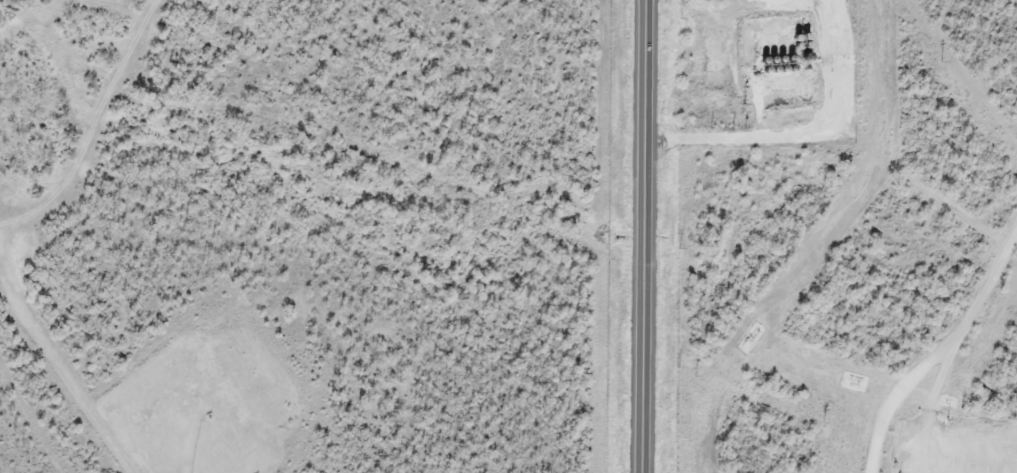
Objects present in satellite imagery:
power tower: (942, 61)
road: (808, 135)
road: (642, 236)
road: (948, 358)
road: (925, 412)
road: (162, 433)

